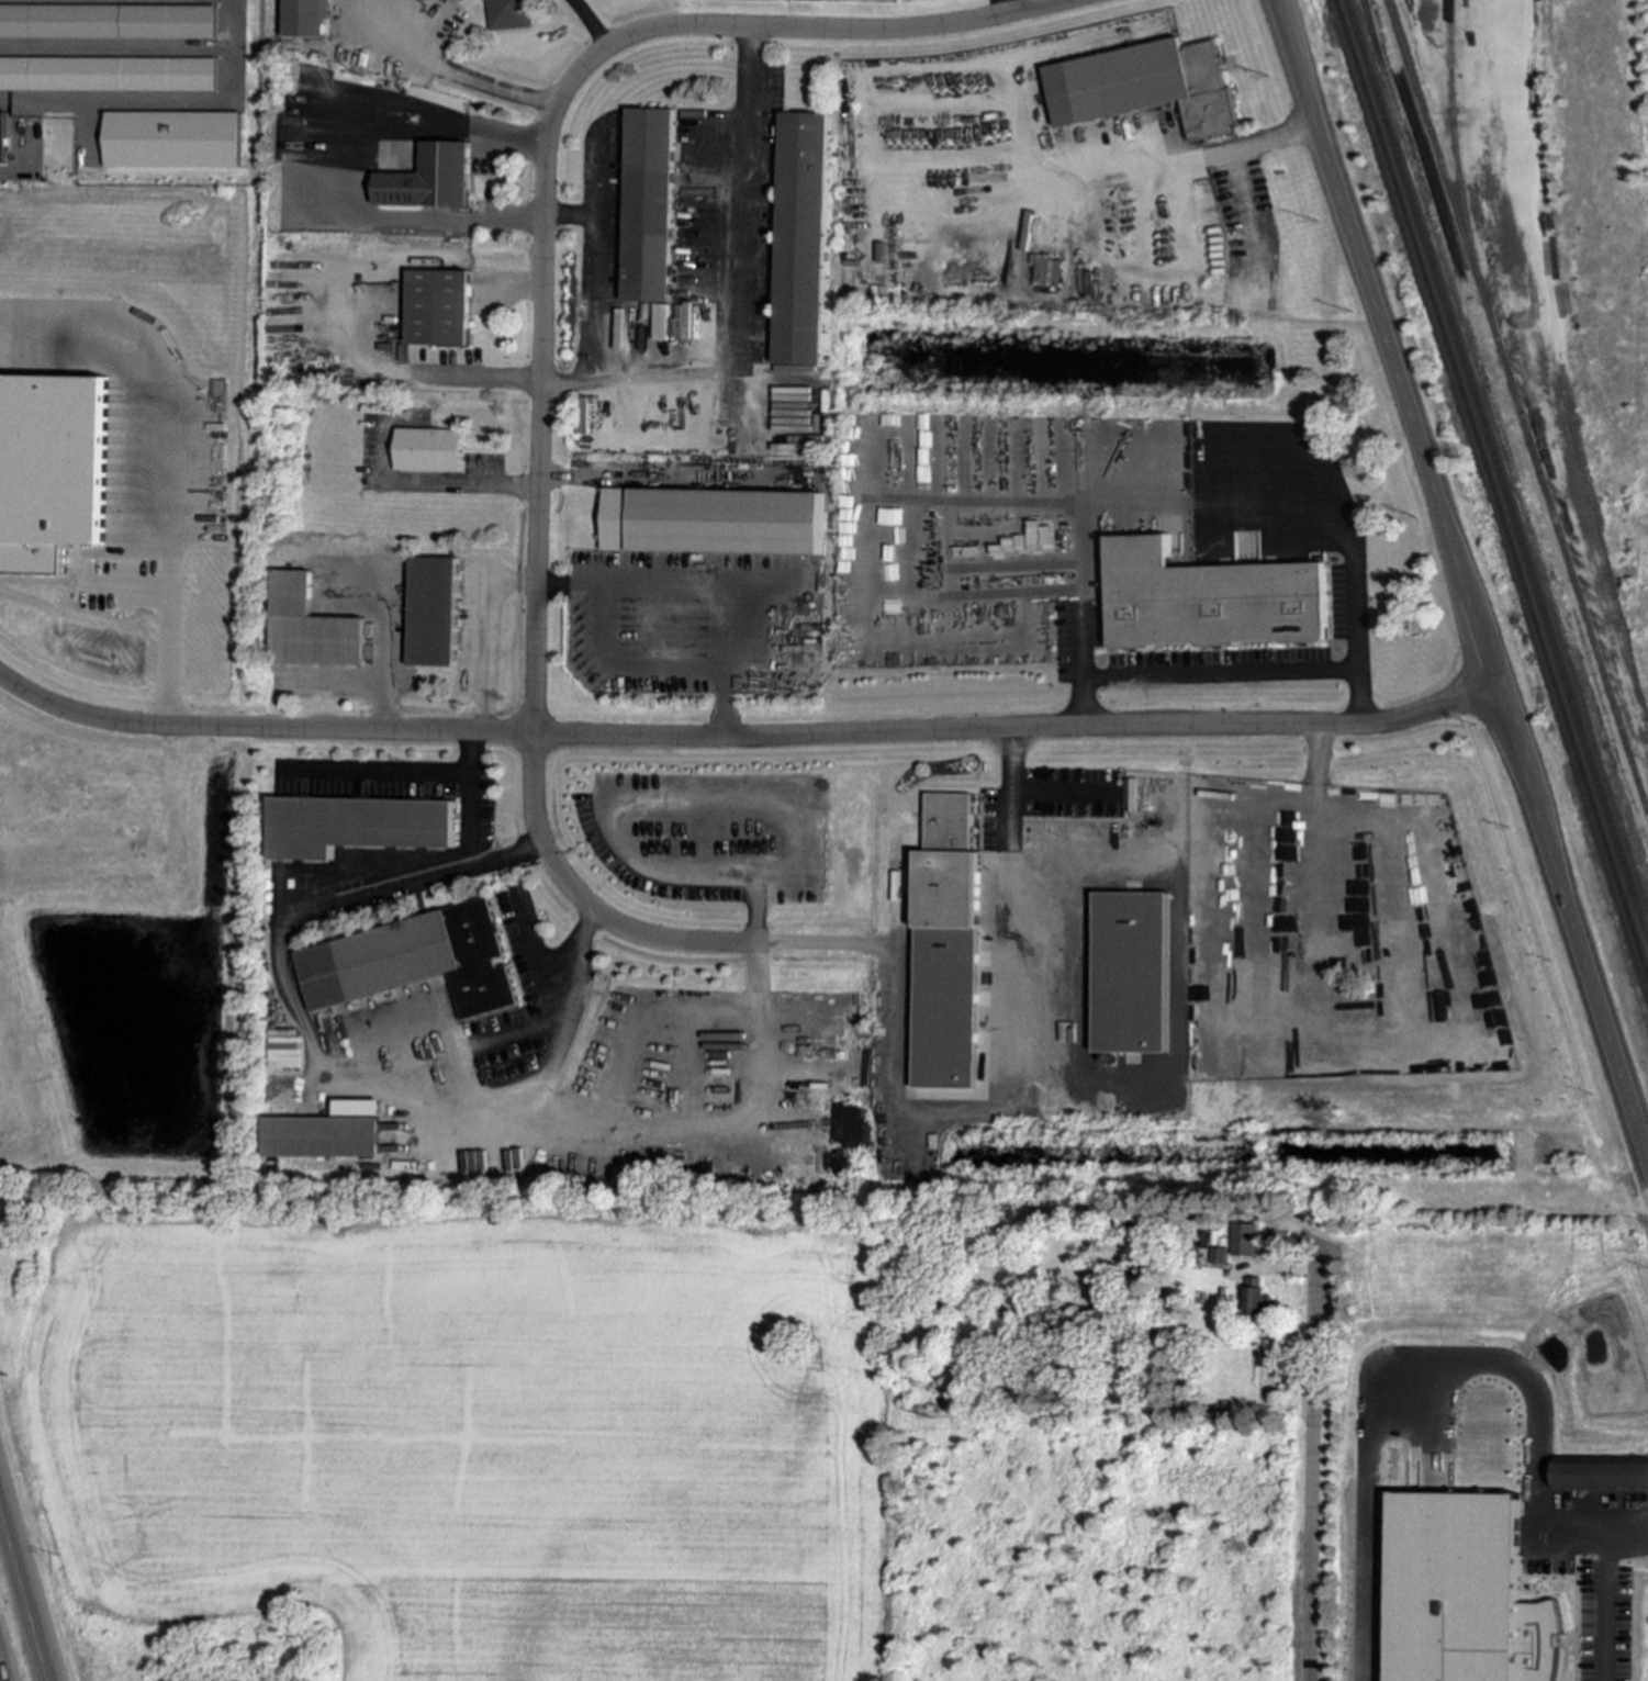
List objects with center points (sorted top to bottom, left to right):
building: (461, 0)
building: (463, 0)
building: (900, 0)
road: (1011, 7)
building: (511, 13)
building: (108, 21)
road: (591, 23)
road: (455, 71)
building: (108, 74)
building: (1146, 86)
road: (165, 102)
building: (2, 136)
building: (173, 139)
railway: (1455, 152)
road: (346, 158)
road: (598, 169)
road: (1122, 169)
building: (429, 178)
building: (648, 204)
building: (801, 238)
road: (598, 272)
road: (543, 290)
road: (736, 293)
road: (352, 302)
building: (438, 307)
railway: (1517, 410)
building: (427, 449)
road: (1209, 451)
road: (168, 457)
railway: (1496, 470)
building: (54, 471)
road: (666, 475)
road: (435, 480)
railway: (1491, 488)
building: (711, 520)
road: (1461, 580)
road: (700, 587)
building: (1209, 598)
building: (431, 612)
building: (309, 627)
road: (480, 630)
road: (381, 652)
road: (1221, 676)
road: (336, 683)
road: (261, 729)
road: (1018, 731)
road: (379, 761)
building: (356, 825)
road: (466, 833)
road: (369, 888)
building: (949, 955)
building: (414, 961)
road: (889, 993)
road: (288, 1001)
road: (571, 1007)
road: (491, 1042)
road: (711, 1127)
building: (326, 1132)
building: (1244, 1240)
building: (1219, 1255)
building: (1255, 1297)
road: (1425, 1351)
power tower: (5, 1376)
road: (1312, 1444)
building: (1602, 1473)
road: (23, 1593)
road: (1606, 1606)
road: (2, 1669)

